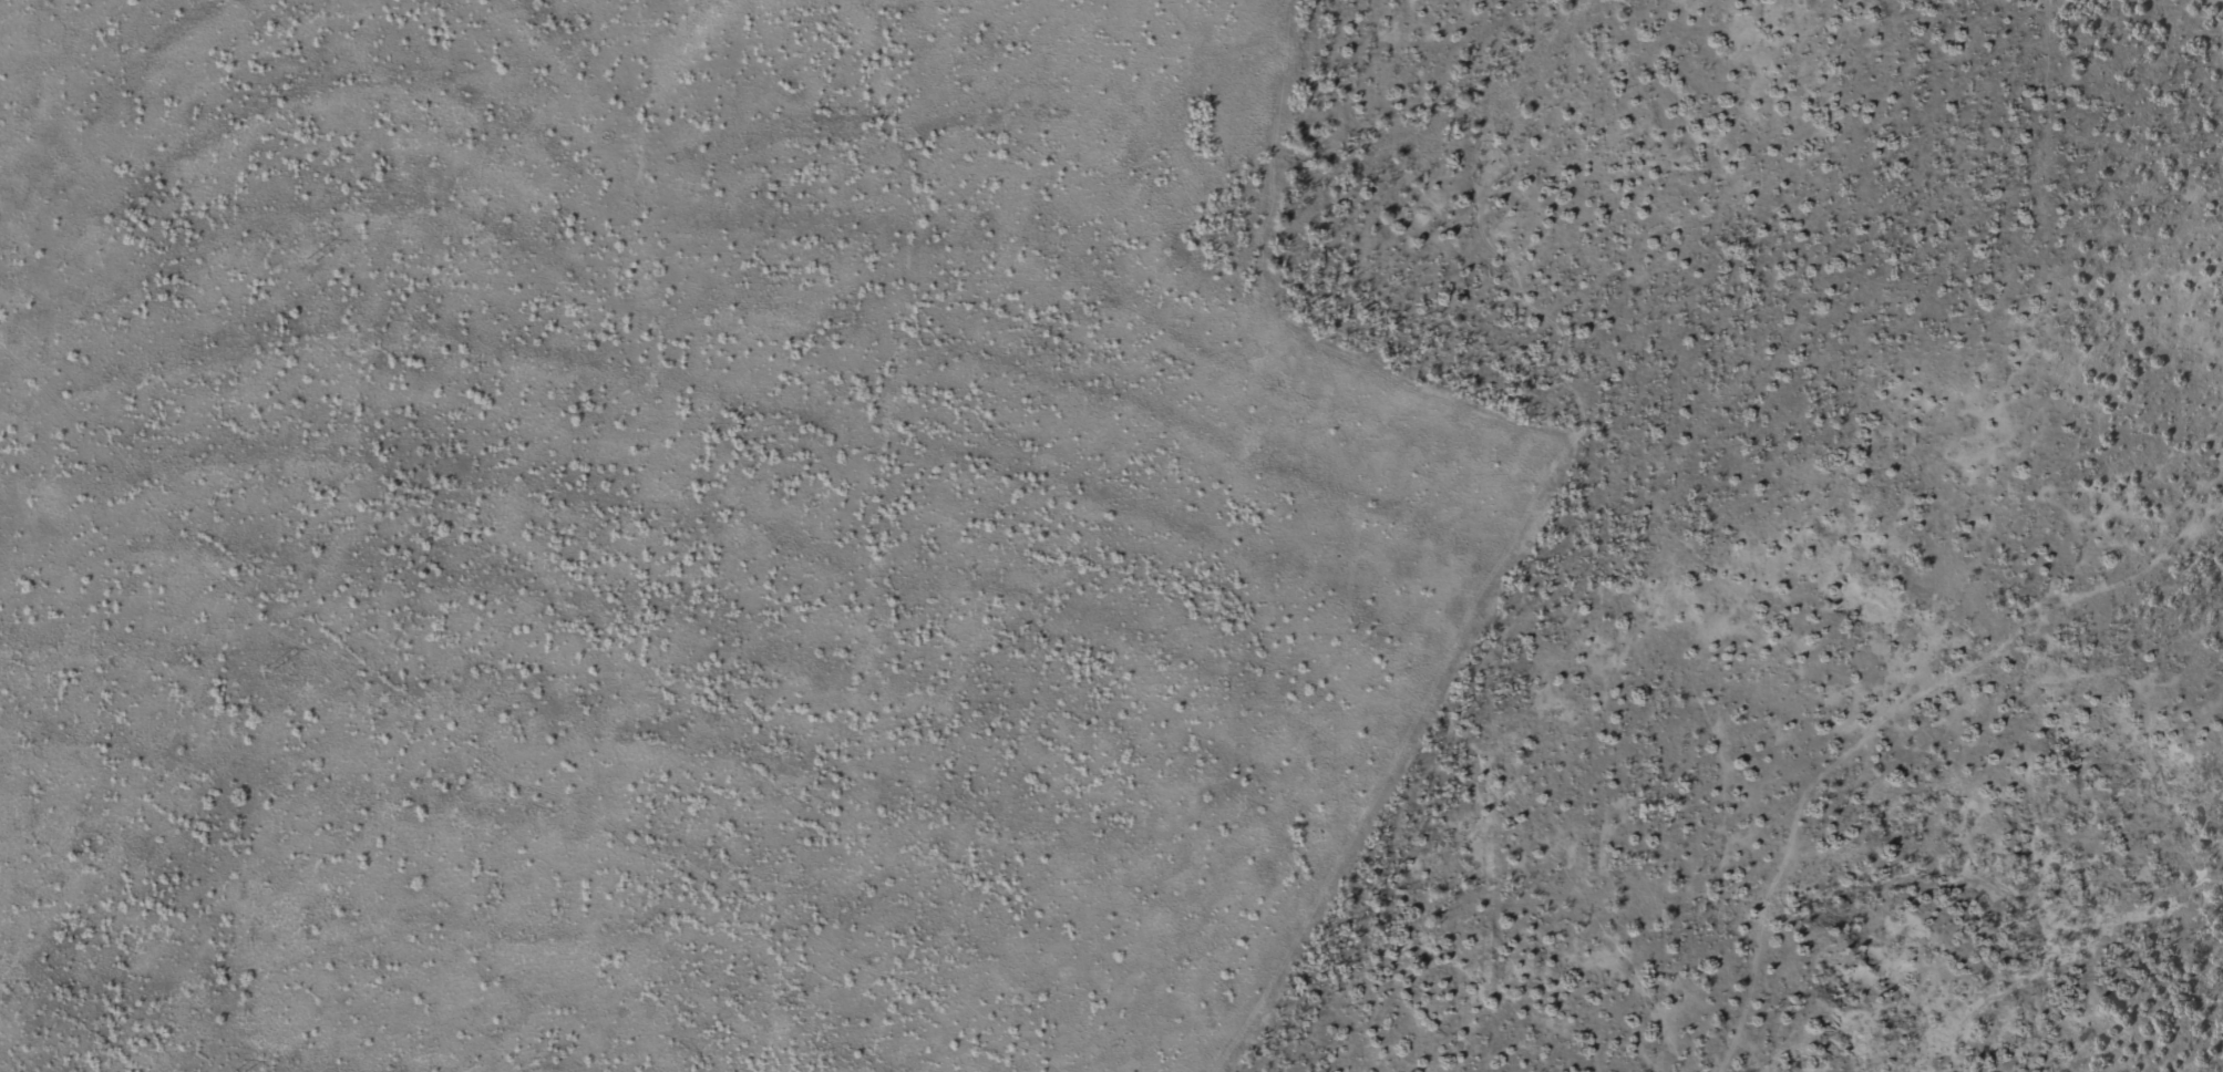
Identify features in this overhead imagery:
power tower: (310, 261)
power tower: (267, 671)

